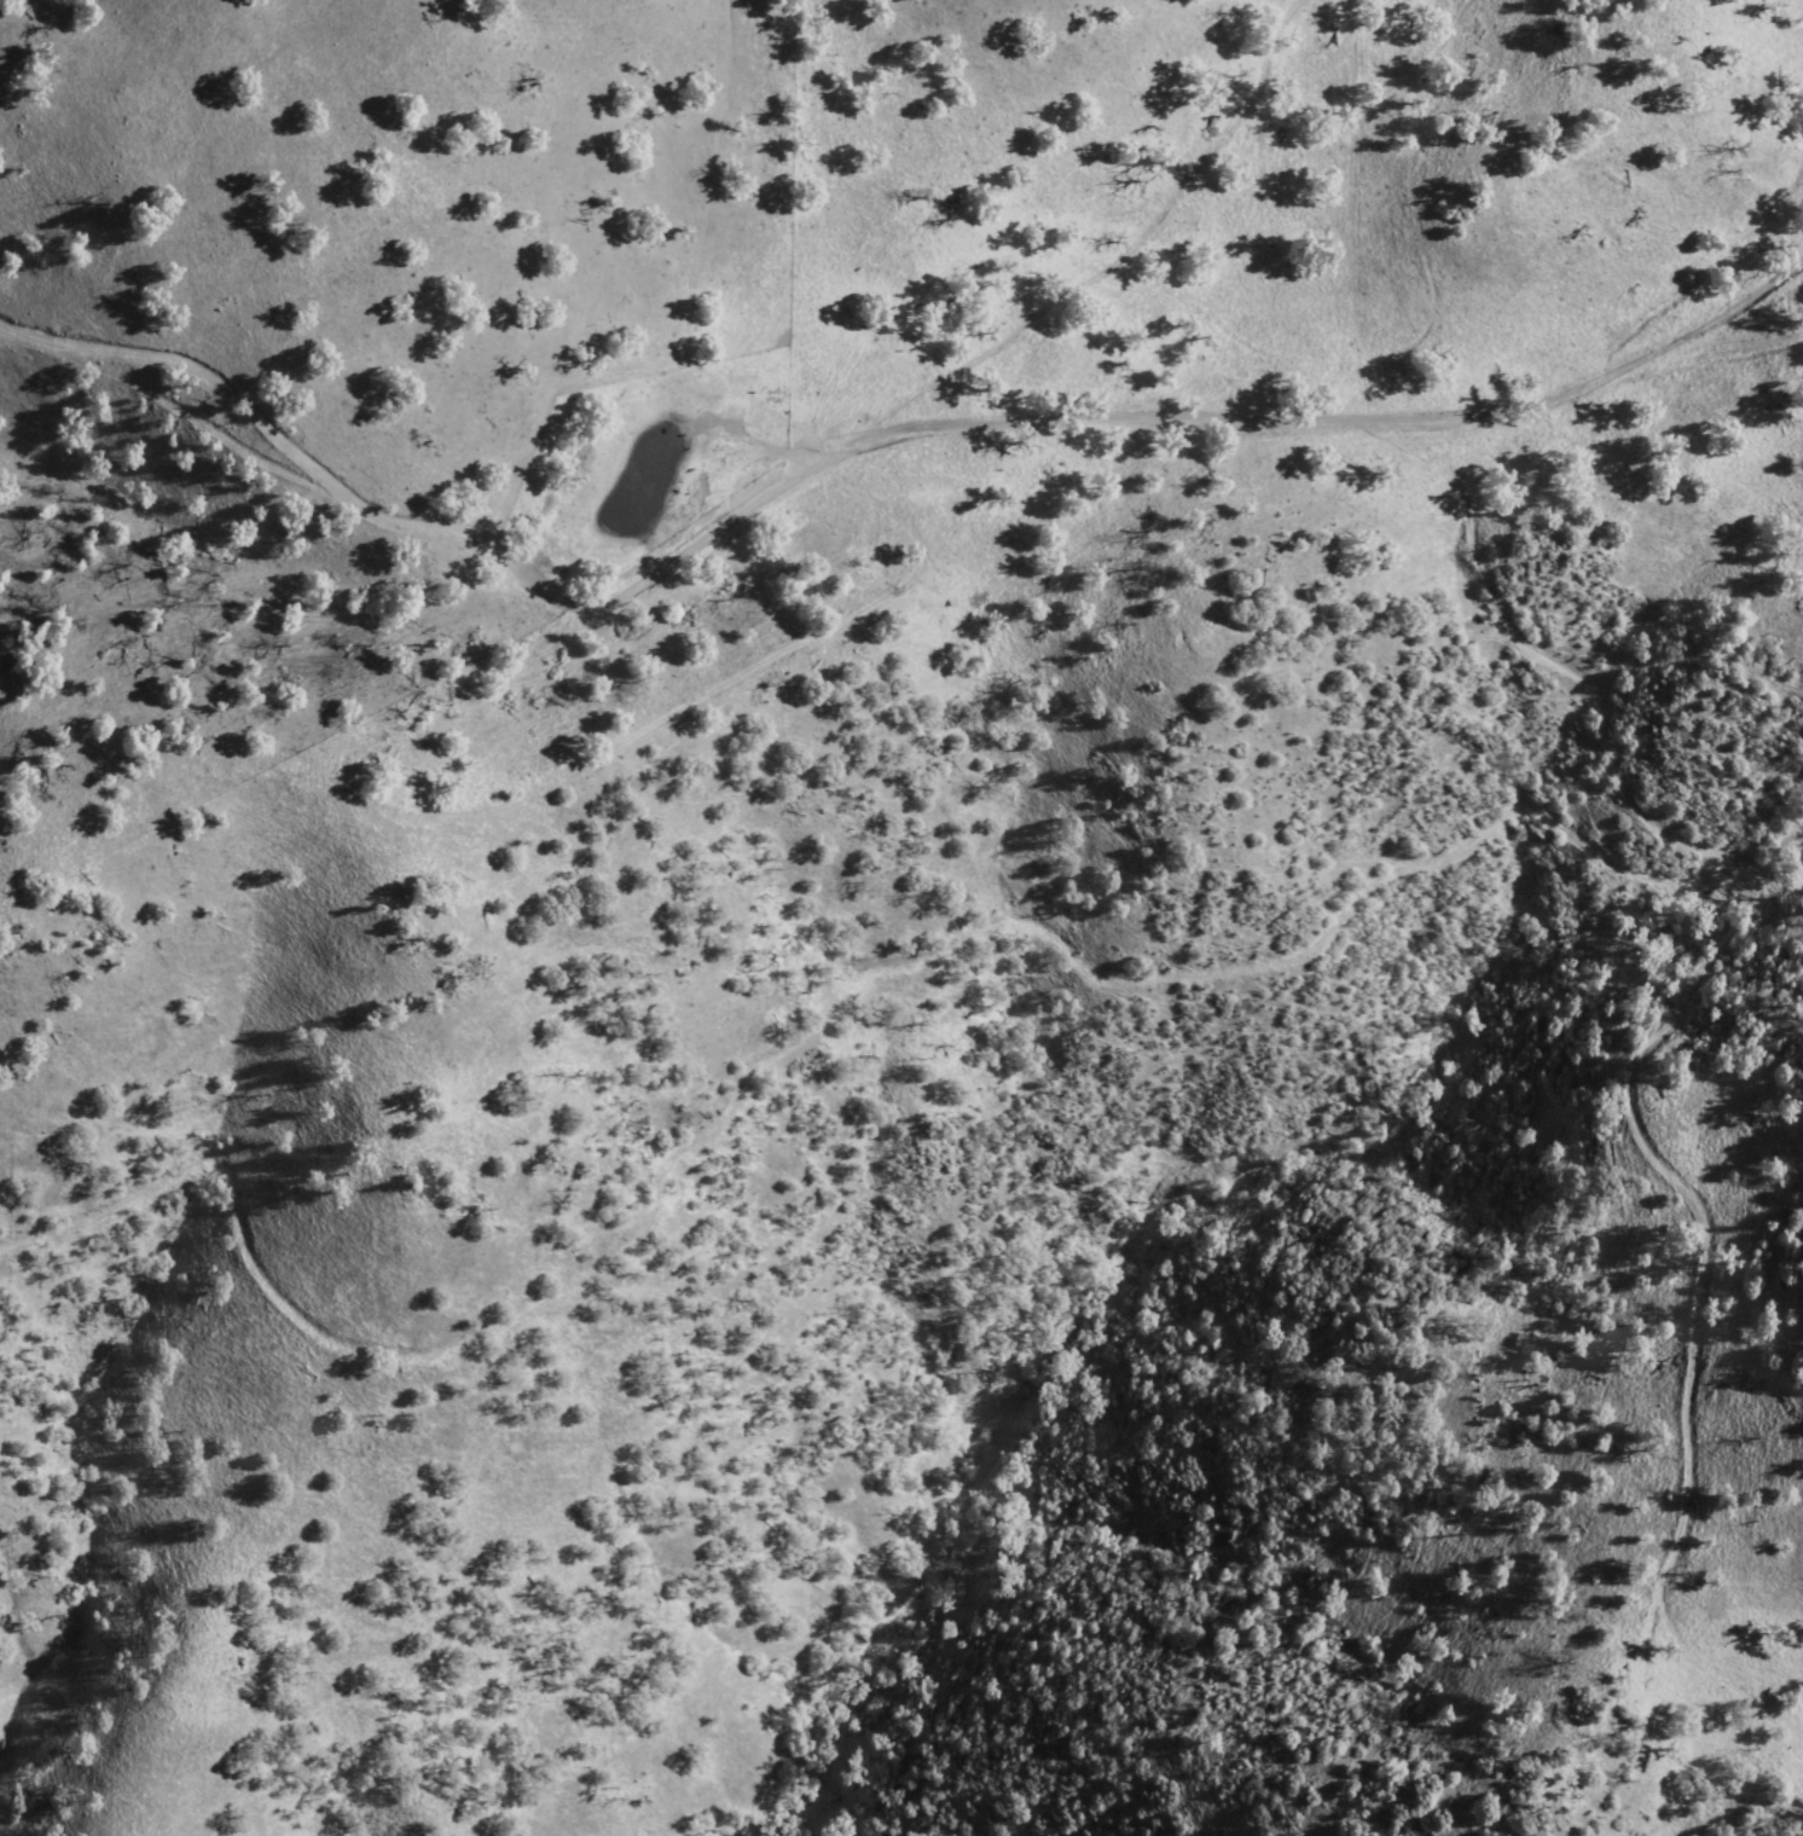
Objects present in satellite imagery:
road: (1062, 963)

